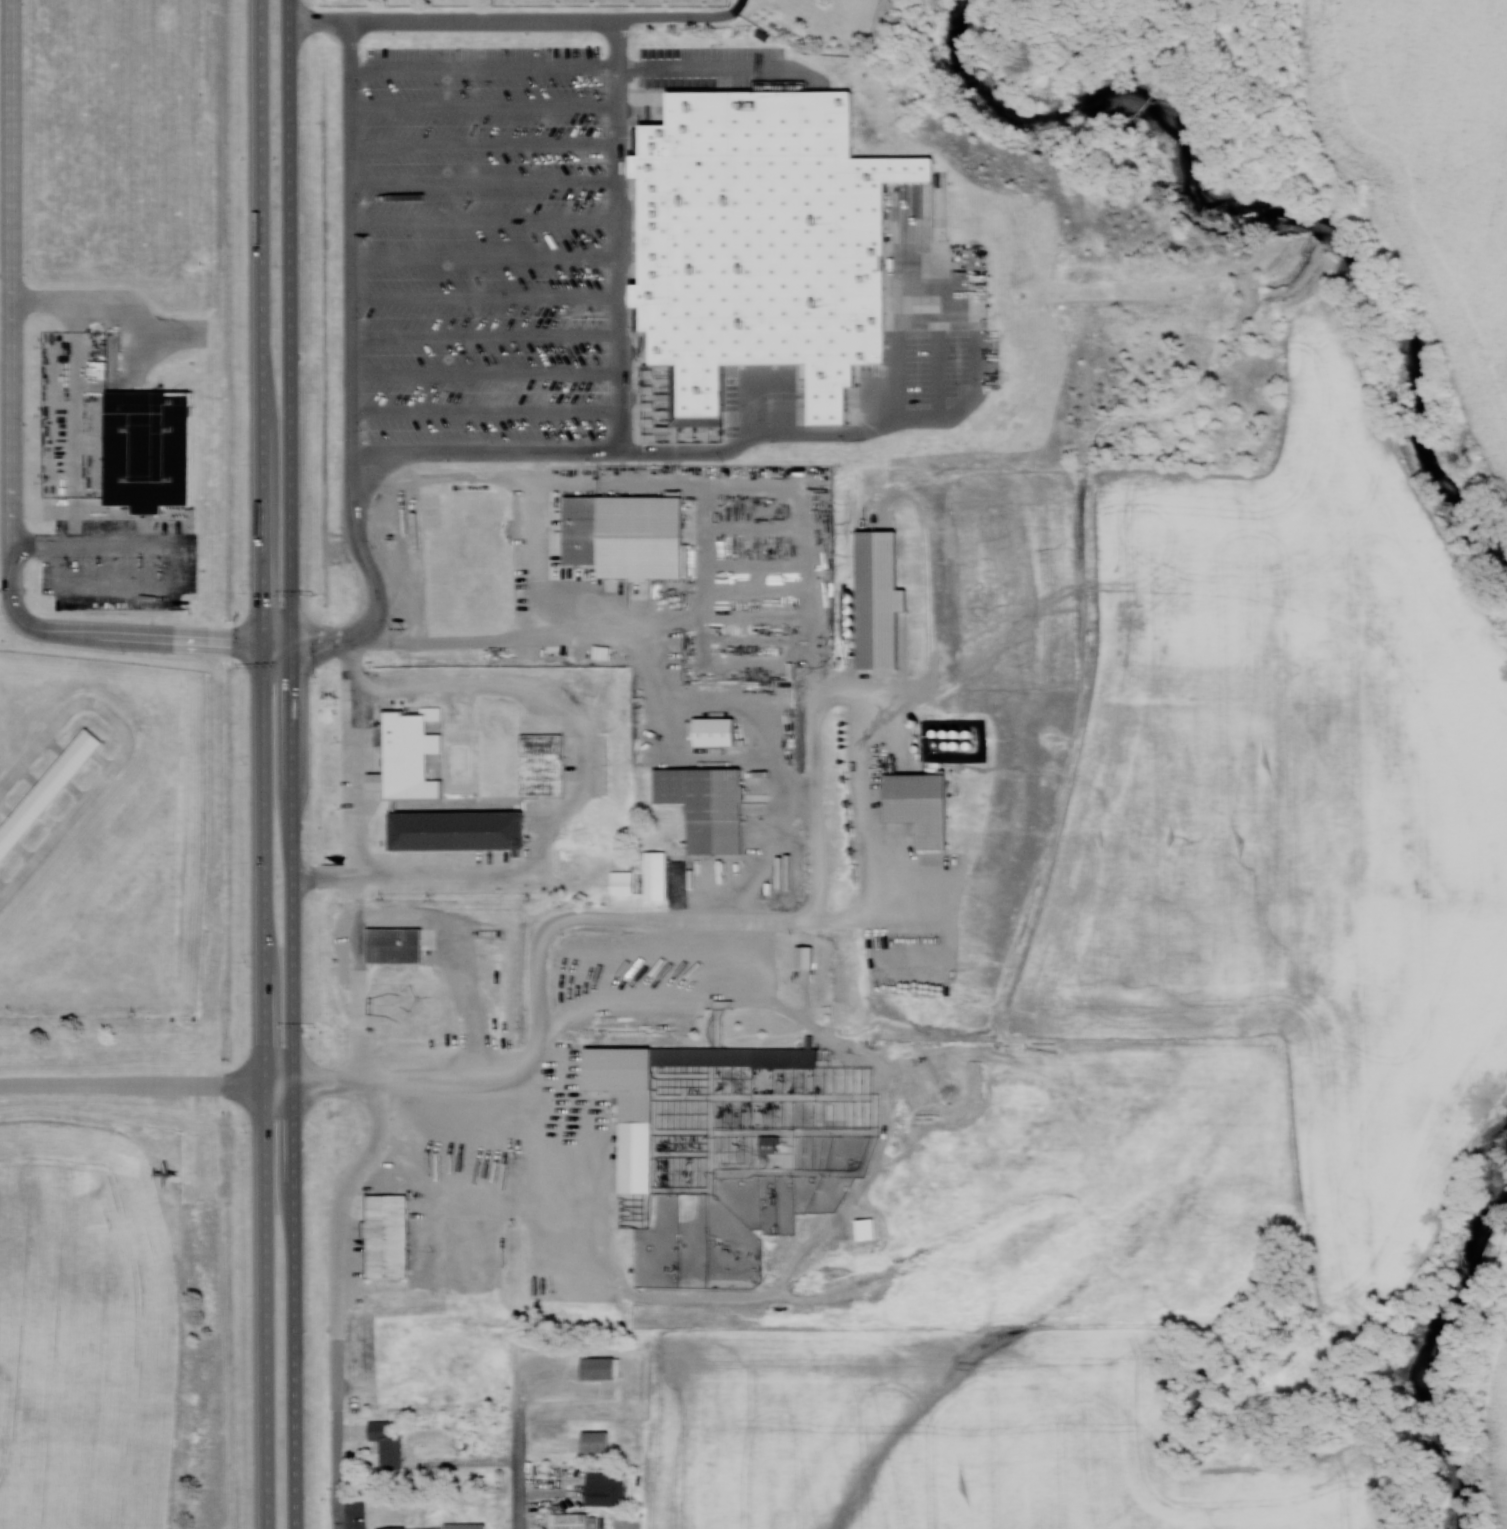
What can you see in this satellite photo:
road: (684, 14)
road: (454, 20)
road: (586, 65)
road: (486, 104)
road: (487, 143)
crop: (1429, 152)
road: (487, 180)
road: (487, 217)
road: (621, 231)
building: (767, 241)
road: (488, 256)
road: (488, 296)
road: (489, 333)
road: (901, 333)
road: (356, 368)
road: (940, 368)
road: (489, 369)
road: (490, 409)
road: (12, 446)
building: (152, 448)
road: (712, 448)
building: (631, 535)
traffic signals: (265, 644)
traffic signals: (295, 646)
building: (719, 731)
building: (412, 754)
road: (265, 764)
road: (296, 764)
building: (544, 764)
airport hangar: (50, 792)
building: (50, 792)
crop: (1297, 800)
road: (569, 801)
road: (809, 803)
building: (710, 805)
building: (925, 805)
building: (461, 830)
airport apron: (46, 846)
road: (354, 857)
building: (658, 875)
building: (625, 881)
road: (681, 917)
building: (399, 945)
road: (544, 1000)
road: (421, 1079)
road: (148, 1083)
building: (639, 1141)
building: (773, 1145)
building: (389, 1234)
road: (333, 1272)
building: (603, 1366)
crop: (1496, 1398)
building: (599, 1441)
building: (392, 1443)
road: (516, 1449)
building: (608, 1487)
road: (333, 1506)
building: (572, 1520)
building: (455, 1526)

